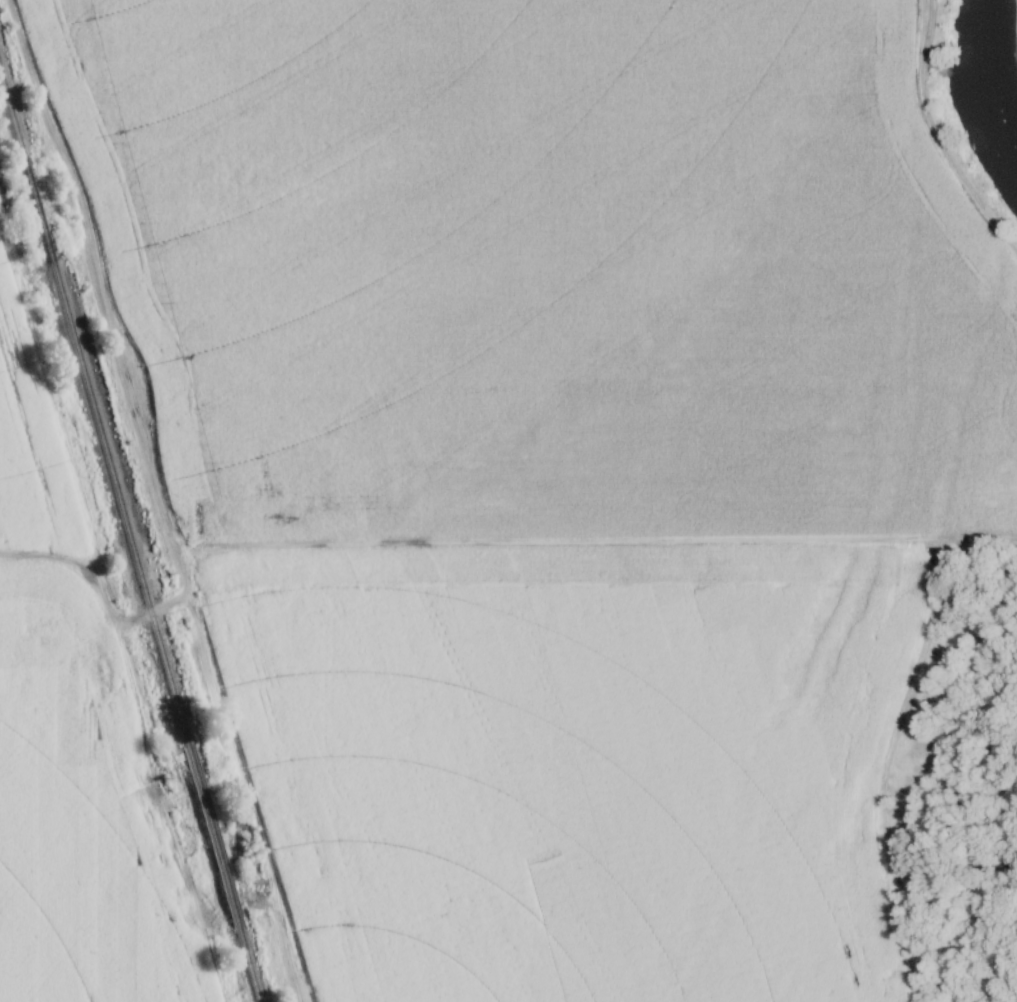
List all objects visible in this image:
river: (991, 100)
railway: (130, 538)

